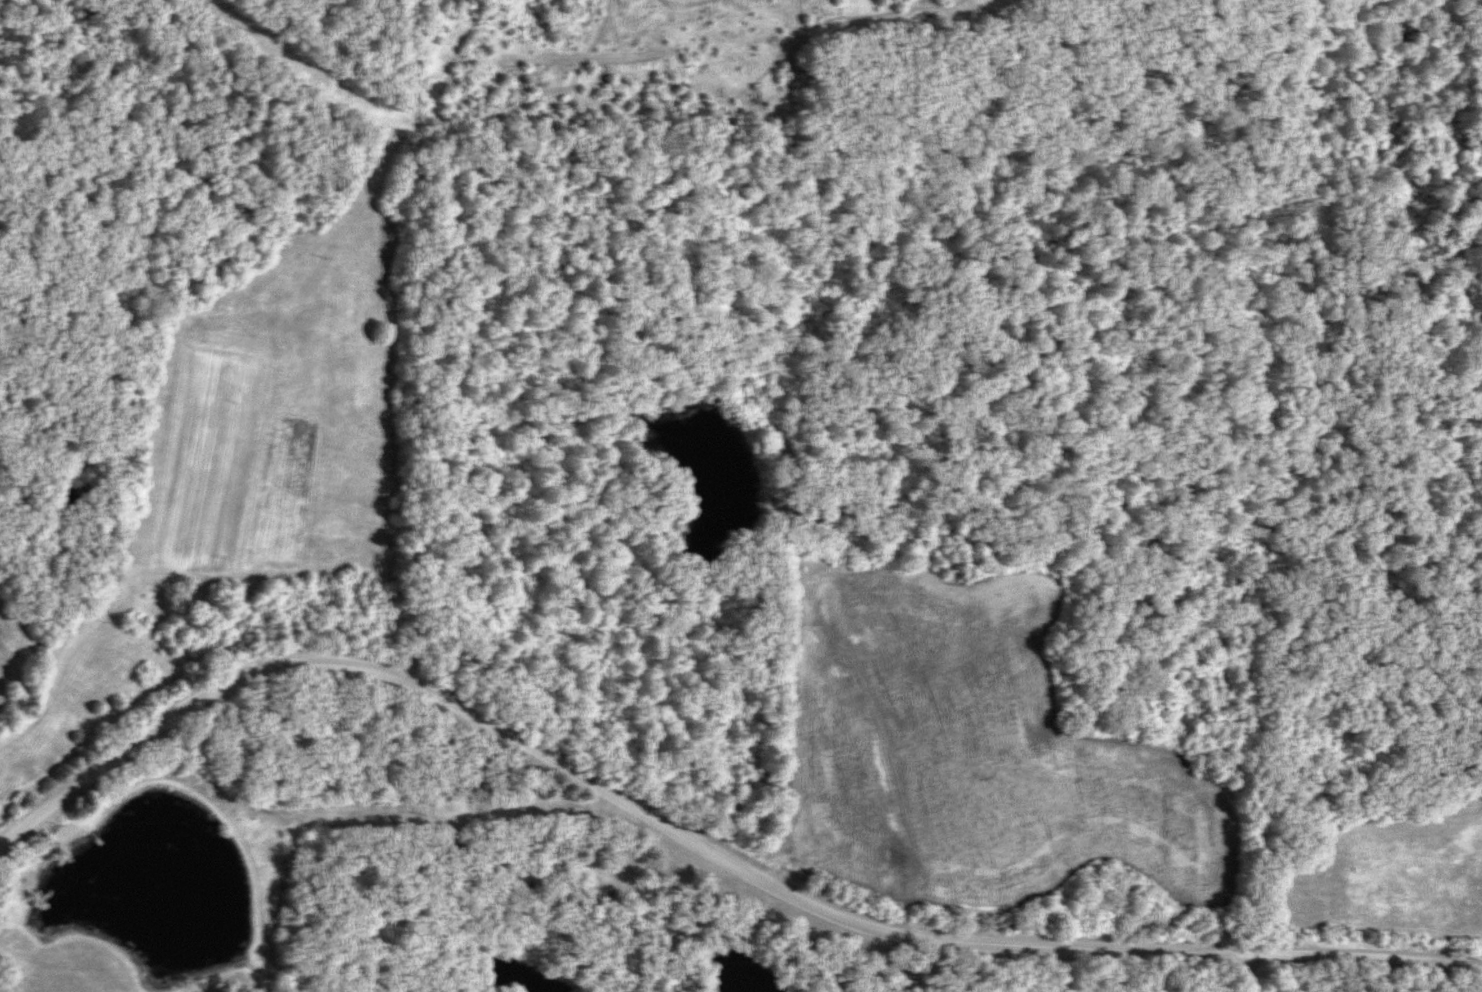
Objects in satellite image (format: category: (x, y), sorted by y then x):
road: (420, 346)
road: (605, 791)
road: (1372, 957)

